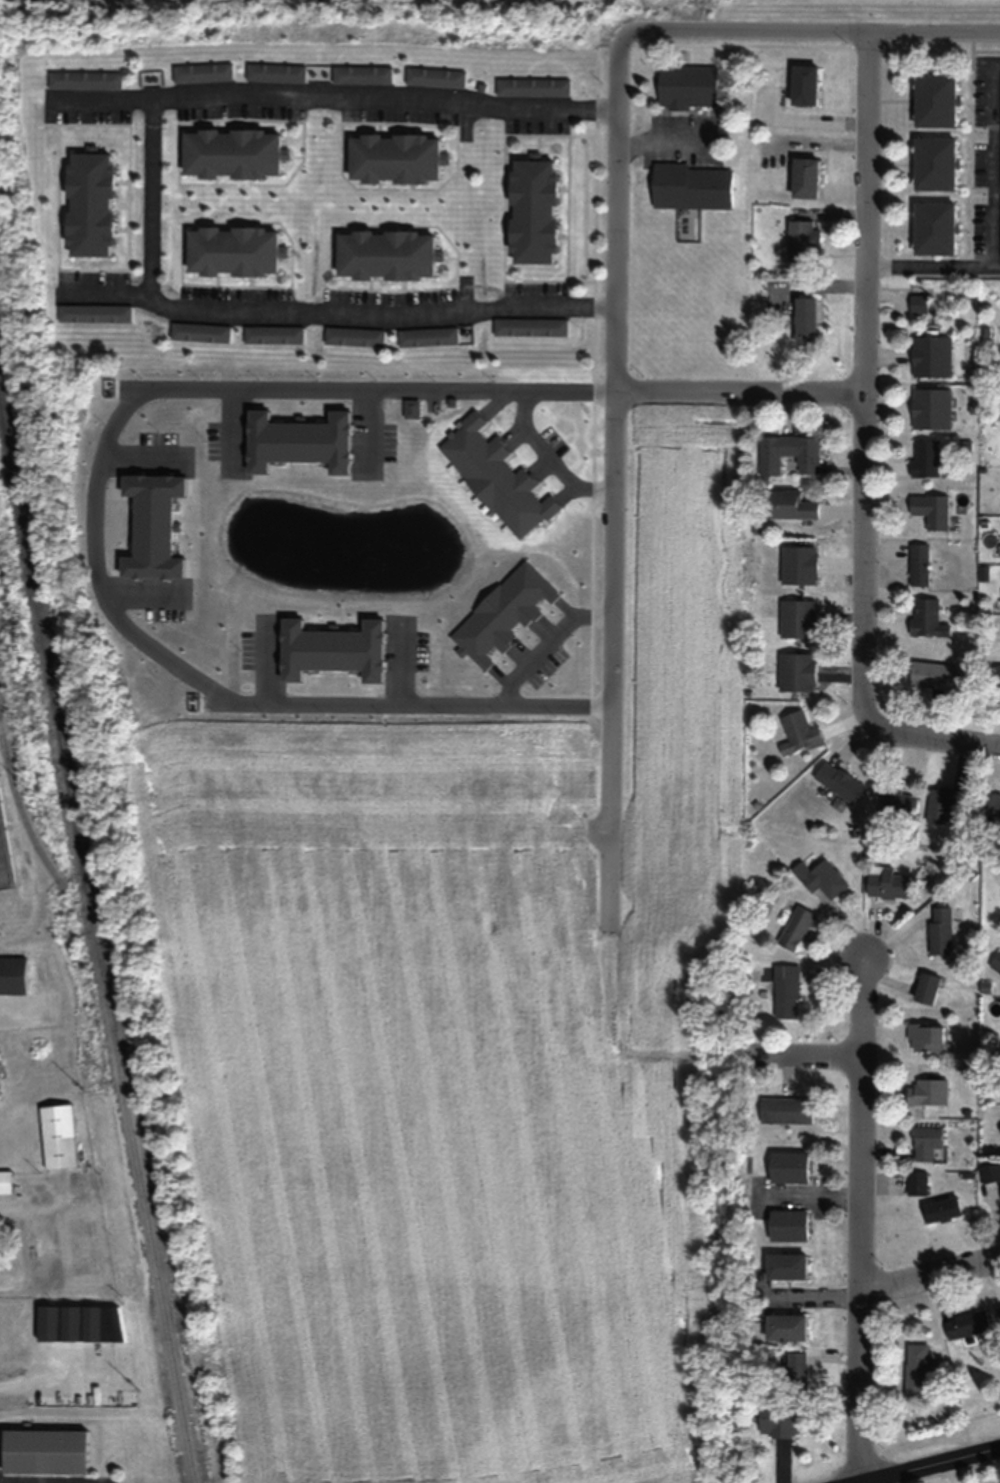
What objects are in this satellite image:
crop: (862, 10)
road: (745, 30)
road: (934, 32)
building: (201, 71)
building: (274, 71)
building: (360, 73)
building: (433, 76)
building: (803, 84)
building: (686, 85)
building: (531, 86)
road: (336, 96)
road: (868, 99)
building: (933, 99)
building: (229, 152)
building: (392, 157)
building: (933, 162)
road: (991, 162)
building: (803, 177)
building: (691, 186)
road: (150, 198)
building: (87, 202)
building: (530, 210)
building: (932, 226)
building: (999, 226)
building: (802, 240)
building: (230, 249)
building: (383, 254)
road: (933, 268)
building: (917, 303)
building: (93, 312)
road: (334, 315)
building: (804, 320)
building: (529, 326)
building: (198, 331)
building: (272, 334)
building: (353, 336)
building: (427, 336)
building: (930, 356)
road: (740, 390)
building: (930, 408)
road: (866, 418)
building: (298, 423)
building: (787, 452)
building: (924, 457)
building: (493, 475)
road: (612, 479)
building: (789, 504)
building: (930, 510)
road: (95, 518)
building: (797, 563)
building: (917, 563)
building: (797, 618)
building: (926, 618)
building: (795, 671)
building: (936, 675)
building: (996, 675)
building: (798, 733)
road: (907, 735)
building: (838, 781)
building: (895, 800)
building: (943, 802)
building: (992, 808)
road: (598, 830)
building: (3, 866)
building: (823, 879)
building: (889, 883)
railway: (63, 890)
building: (795, 928)
building: (940, 930)
railway: (97, 940)
building: (996, 963)
building: (11, 975)
building: (926, 988)
building: (785, 991)
building: (925, 1037)
road: (805, 1053)
building: (927, 1092)
building: (784, 1110)
building: (56, 1136)
building: (925, 1141)
building: (787, 1167)
building: (990, 1172)
building: (4, 1181)
building: (916, 1182)
building: (999, 1188)
building: (940, 1209)
road: (859, 1217)
building: (787, 1225)
building: (784, 1266)
road: (929, 1279)
building: (998, 1311)
building: (79, 1323)
building: (966, 1324)
building: (784, 1328)
building: (917, 1368)
building: (795, 1373)
building: (780, 1419)
building: (42, 1452)
road: (924, 1465)
road: (55, 1474)
road: (19, 1478)

